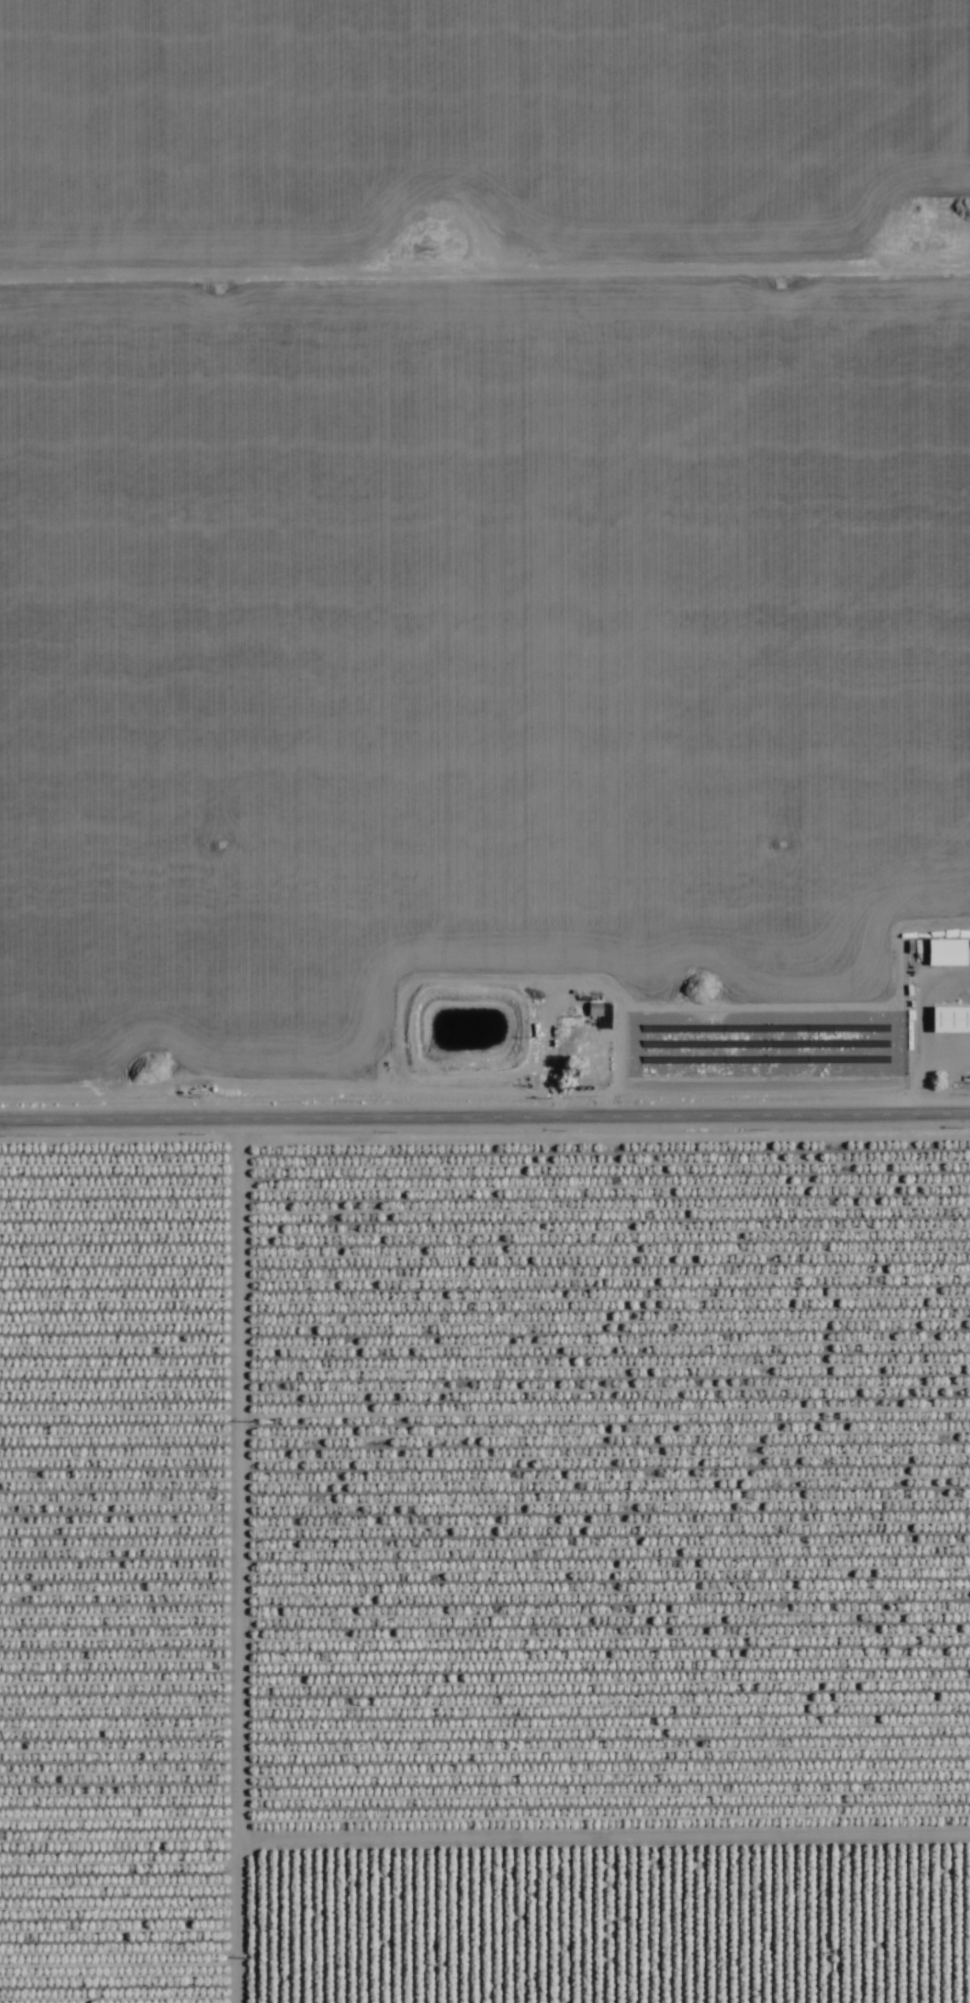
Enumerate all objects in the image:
crop: (485, 1001)
building: (594, 1010)
building: (950, 1020)
wastewater plant: (465, 1032)
road: (485, 1112)

